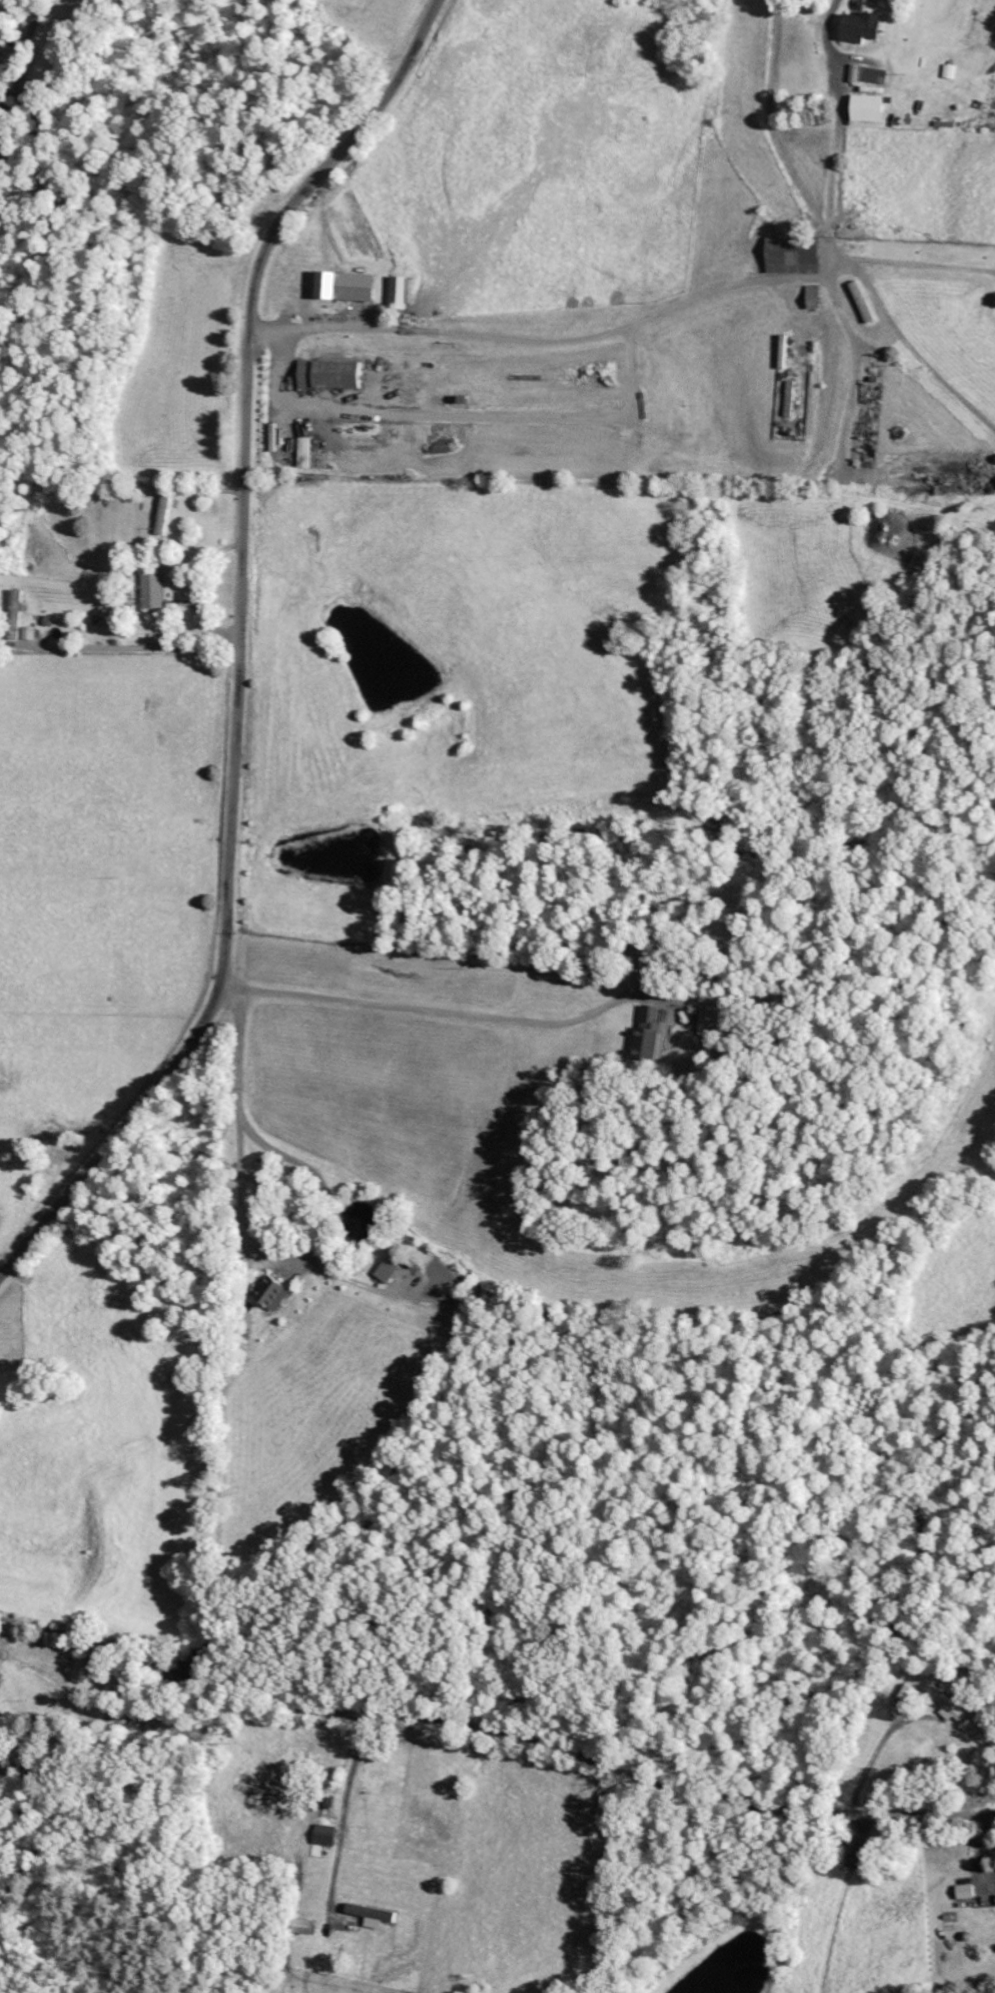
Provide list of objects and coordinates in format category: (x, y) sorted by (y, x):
building: (859, 28)
building: (947, 72)
building: (867, 75)
building: (866, 109)
building: (791, 256)
building: (342, 287)
building: (399, 293)
building: (812, 298)
building: (327, 375)
building: (303, 453)
building: (163, 516)
building: (152, 588)
building: (15, 615)
road: (240, 648)
building: (650, 1033)
building: (387, 1270)
building: (271, 1294)
building: (908, 1695)
building: (946, 1703)
road: (495, 1729)
building: (324, 1836)
building: (964, 1892)
building: (370, 1913)
building: (302, 1927)

